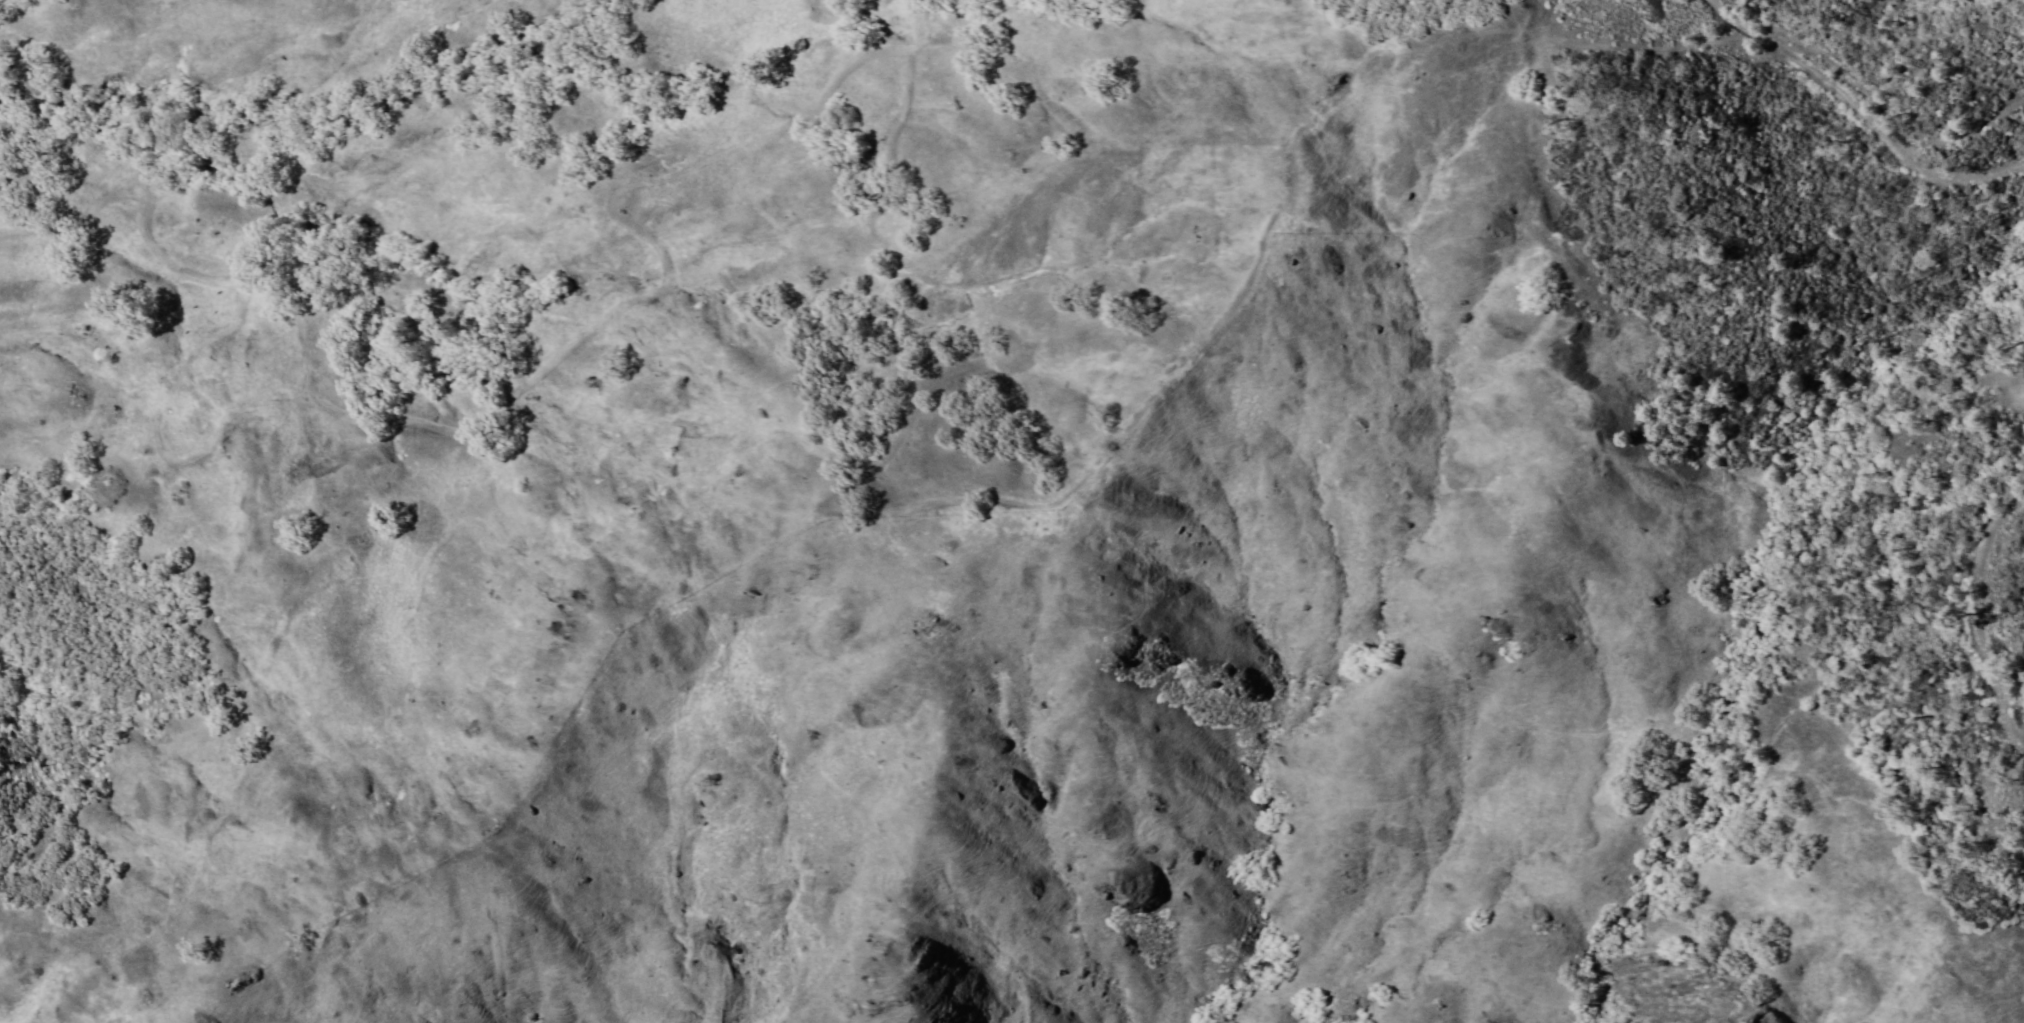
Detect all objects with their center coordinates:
road: (1152, 406)
road: (1983, 612)

